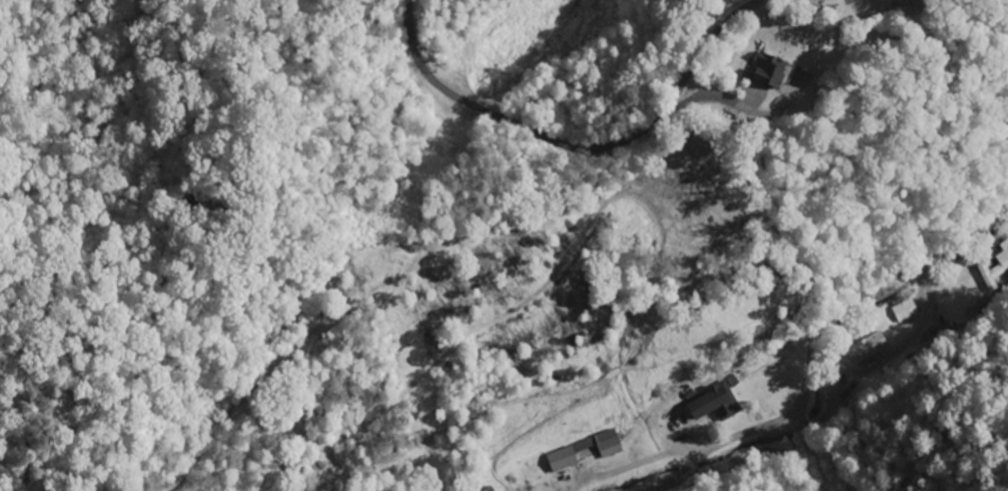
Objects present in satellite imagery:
building: (774, 69)
road: (546, 137)
building: (906, 310)
road: (829, 316)
building: (869, 349)
building: (716, 404)
building: (576, 449)
road: (672, 478)

